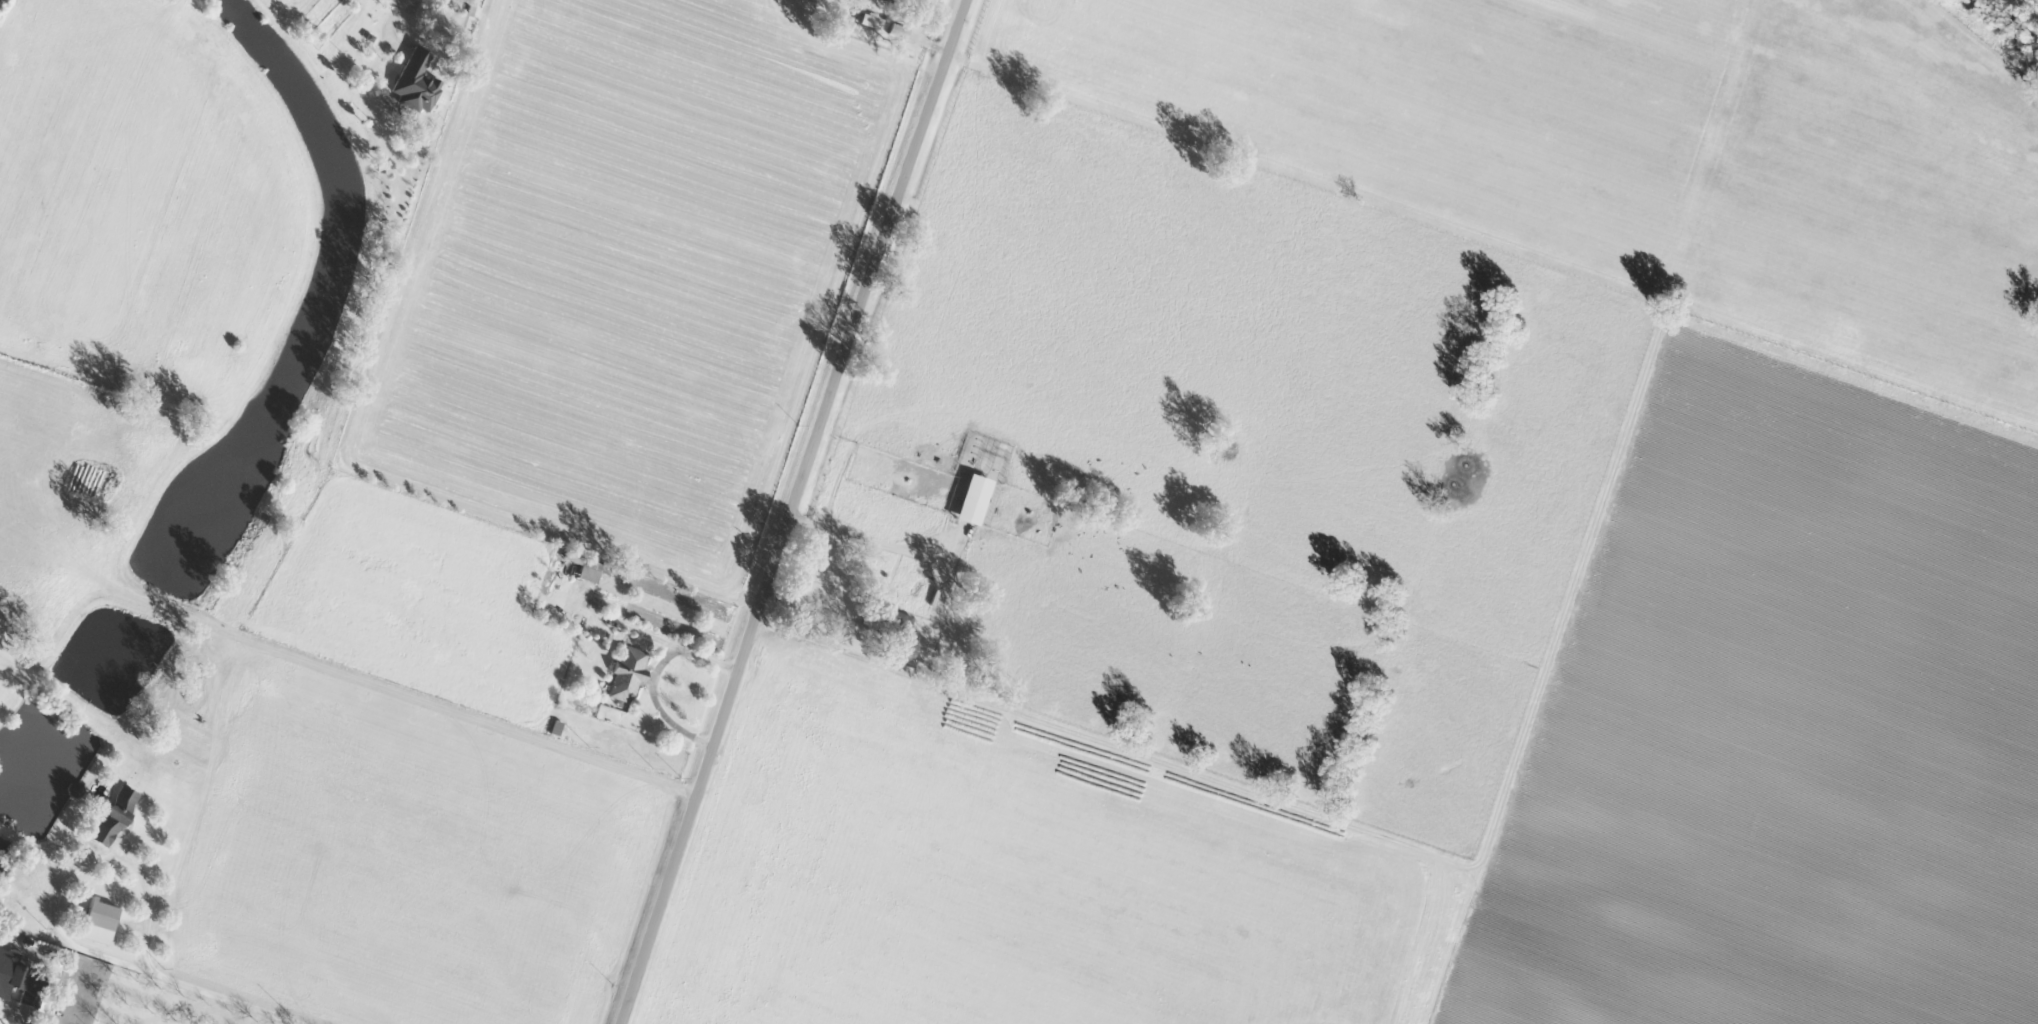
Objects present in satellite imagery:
building: (874, 22)
building: (901, 31)
building: (416, 82)
building: (973, 498)
road: (793, 511)
road: (869, 539)
building: (587, 568)
road: (814, 608)
building: (895, 624)
building: (627, 673)
road: (652, 674)
building: (78, 790)
building: (114, 815)
road: (136, 866)
road: (50, 870)
helipad: (1932, 911)
building: (101, 914)
building: (17, 977)
road: (180, 981)
road: (65, 985)

